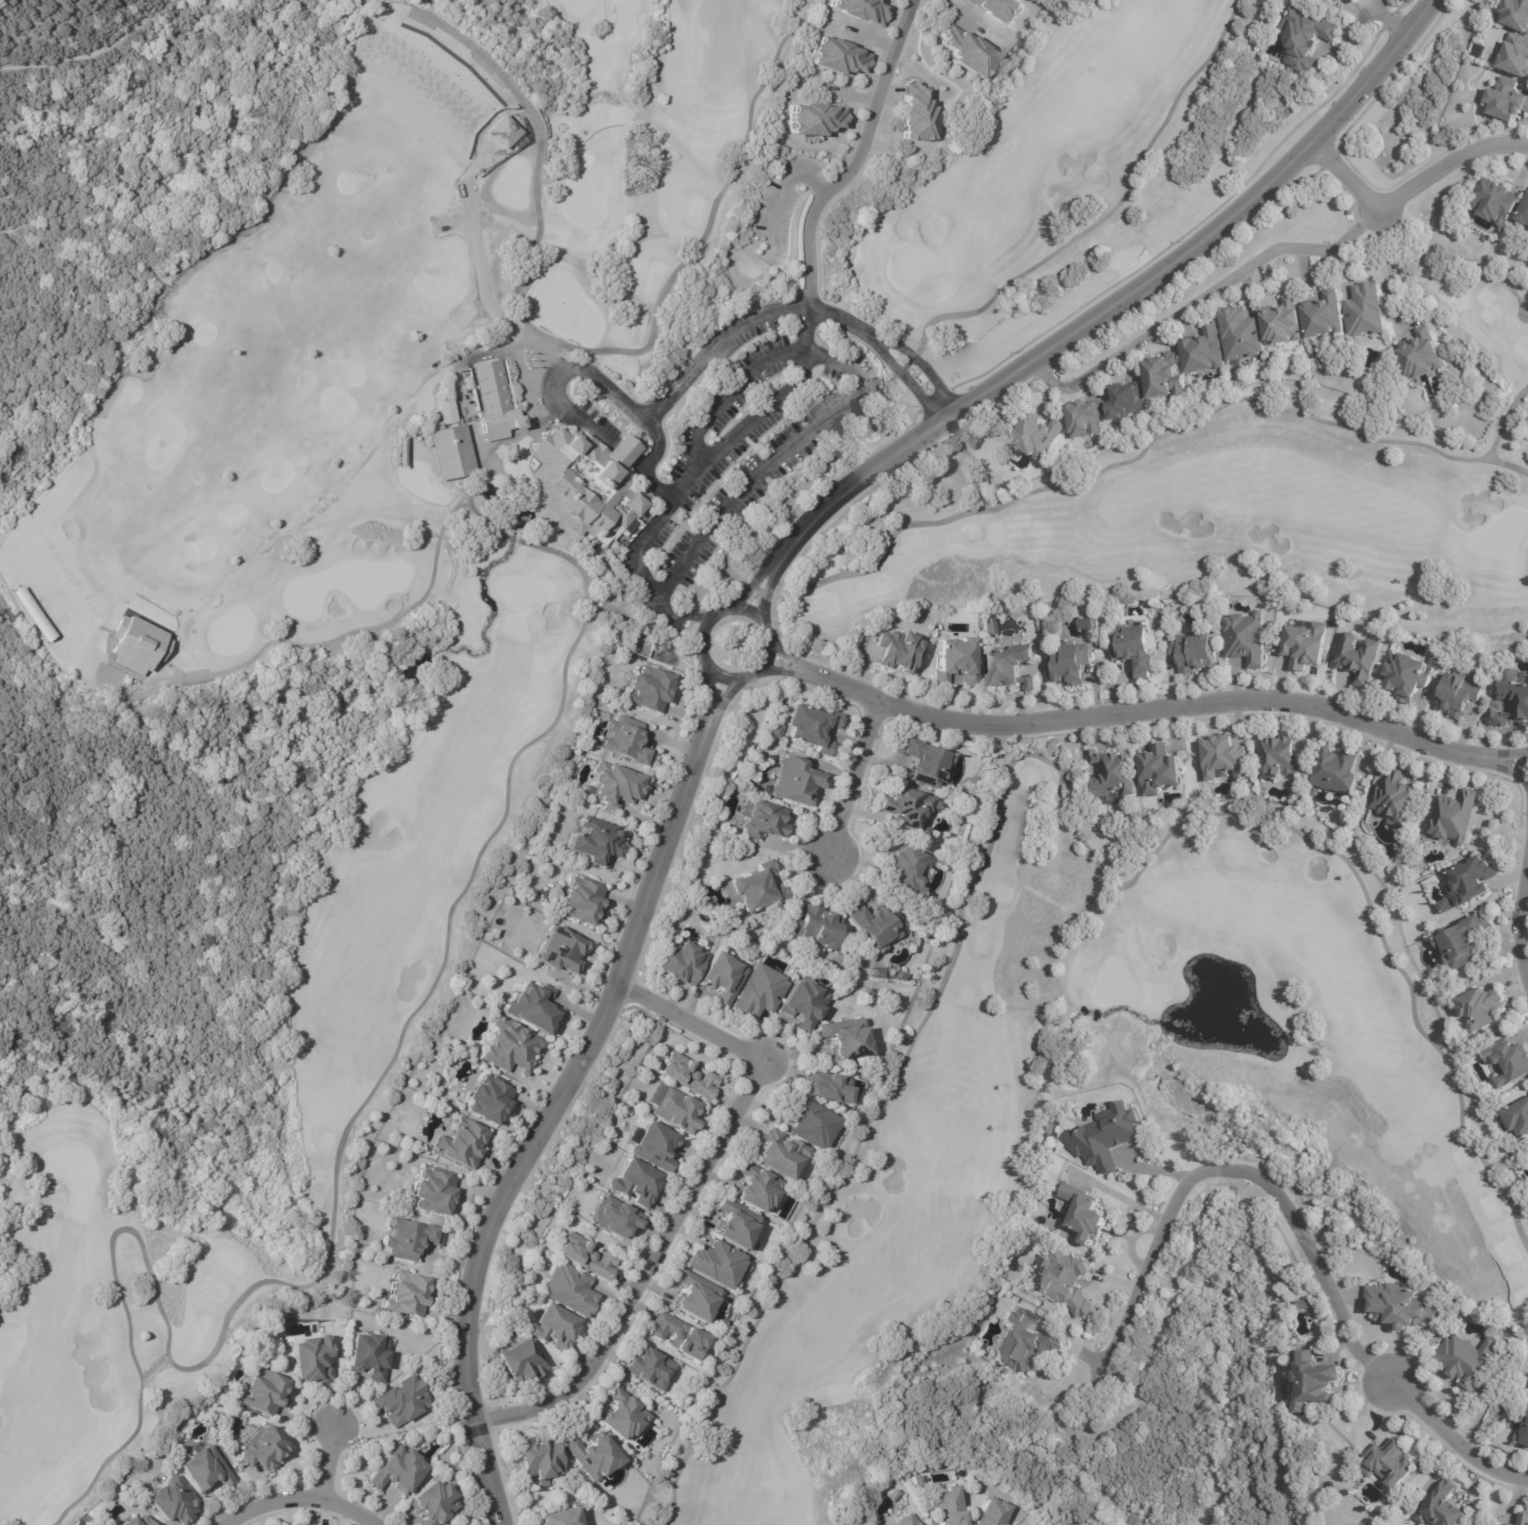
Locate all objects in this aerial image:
building: (859, 10)
building: (999, 10)
building: (1515, 15)
road: (1383, 20)
building: (1304, 40)
building: (965, 52)
building: (837, 56)
building: (1515, 57)
building: (1506, 102)
building: (915, 113)
building: (815, 118)
park: (1019, 156)
road: (862, 163)
road: (1403, 190)
building: (1495, 205)
building: (1523, 216)
road: (1389, 274)
road: (1122, 302)
road: (1199, 309)
building: (1364, 310)
building: (1322, 315)
building: (1282, 321)
building: (1239, 333)
building: (1202, 351)
building: (1420, 355)
road: (924, 367)
road: (590, 374)
building: (1163, 376)
road: (906, 382)
building: (497, 397)
building: (1125, 400)
building: (1085, 418)
building: (1036, 435)
parking lot: (719, 437)
building: (450, 449)
building: (398, 452)
building: (584, 482)
park: (1250, 505)
building: (21, 549)
road: (753, 583)
building: (28, 587)
road: (770, 590)
road: (693, 616)
building: (1087, 623)
building: (990, 625)
road: (685, 631)
park: (349, 632)
building: (1245, 636)
building: (641, 643)
building: (1304, 644)
building: (135, 645)
building: (1133, 649)
road: (702, 651)
building: (1192, 651)
building: (900, 652)
road: (793, 656)
building: (958, 659)
building: (1358, 659)
building: (1067, 663)
building: (1011, 667)
road: (788, 671)
building: (1405, 675)
building: (648, 691)
building: (1459, 693)
road: (708, 694)
road: (723, 701)
building: (1522, 706)
road: (1165, 715)
building: (1497, 718)
building: (808, 726)
building: (774, 731)
building: (624, 739)
building: (1224, 757)
building: (1281, 757)
building: (920, 759)
building: (1336, 768)
building: (1158, 769)
road: (1521, 769)
building: (1112, 772)
building: (795, 780)
road: (859, 782)
building: (613, 783)
building: (1070, 790)
building: (1395, 798)
building: (901, 804)
building: (1454, 815)
building: (762, 817)
building: (595, 839)
building: (904, 870)
building: (1472, 879)
building: (753, 888)
building: (578, 899)
building: (1444, 905)
road: (1524, 918)
building: (870, 923)
building: (813, 928)
building: (1461, 941)
building: (560, 950)
building: (679, 959)
building: (875, 971)
building: (720, 976)
building: (758, 991)
building: (801, 1002)
building: (532, 1006)
building: (1481, 1007)
building: (658, 1018)
building: (843, 1037)
building: (508, 1044)
building: (1508, 1060)
building: (687, 1076)
building: (824, 1085)
building: (489, 1099)
building: (676, 1111)
building: (1518, 1117)
road: (543, 1119)
park: (1316, 1119)
building: (808, 1121)
building: (1103, 1137)
building: (456, 1142)
building: (654, 1146)
building: (778, 1153)
road: (1233, 1169)
building: (636, 1183)
building: (755, 1187)
building: (433, 1189)
road: (686, 1197)
building: (1084, 1212)
building: (615, 1217)
building: (735, 1225)
building: (406, 1237)
building: (583, 1257)
building: (714, 1263)
building: (1063, 1282)
building: (570, 1289)
building: (404, 1294)
building: (695, 1297)
building: (1302, 1305)
building: (1397, 1307)
building: (553, 1328)
building: (678, 1336)
building: (1022, 1342)
building: (366, 1357)
building: (313, 1361)
building: (520, 1361)
building: (1468, 1361)
building: (649, 1368)
building: (1311, 1382)
building: (263, 1392)
building: (400, 1401)
building: (620, 1415)
building: (1524, 1430)
road: (1450, 1439)
building: (230, 1447)
building: (265, 1449)
building: (593, 1454)
building: (537, 1459)
road: (325, 1462)
building: (1389, 1463)
building: (203, 1469)
building: (397, 1470)
building: (918, 1481)
road: (300, 1498)
building: (170, 1502)
building: (432, 1503)
building: (949, 1506)
building: (1441, 1508)
building: (992, 1512)
building: (480, 1515)
building: (555, 1516)
building: (1523, 1519)
building: (904, 1520)
building: (137, 1521)
building: (1510, 1524)

